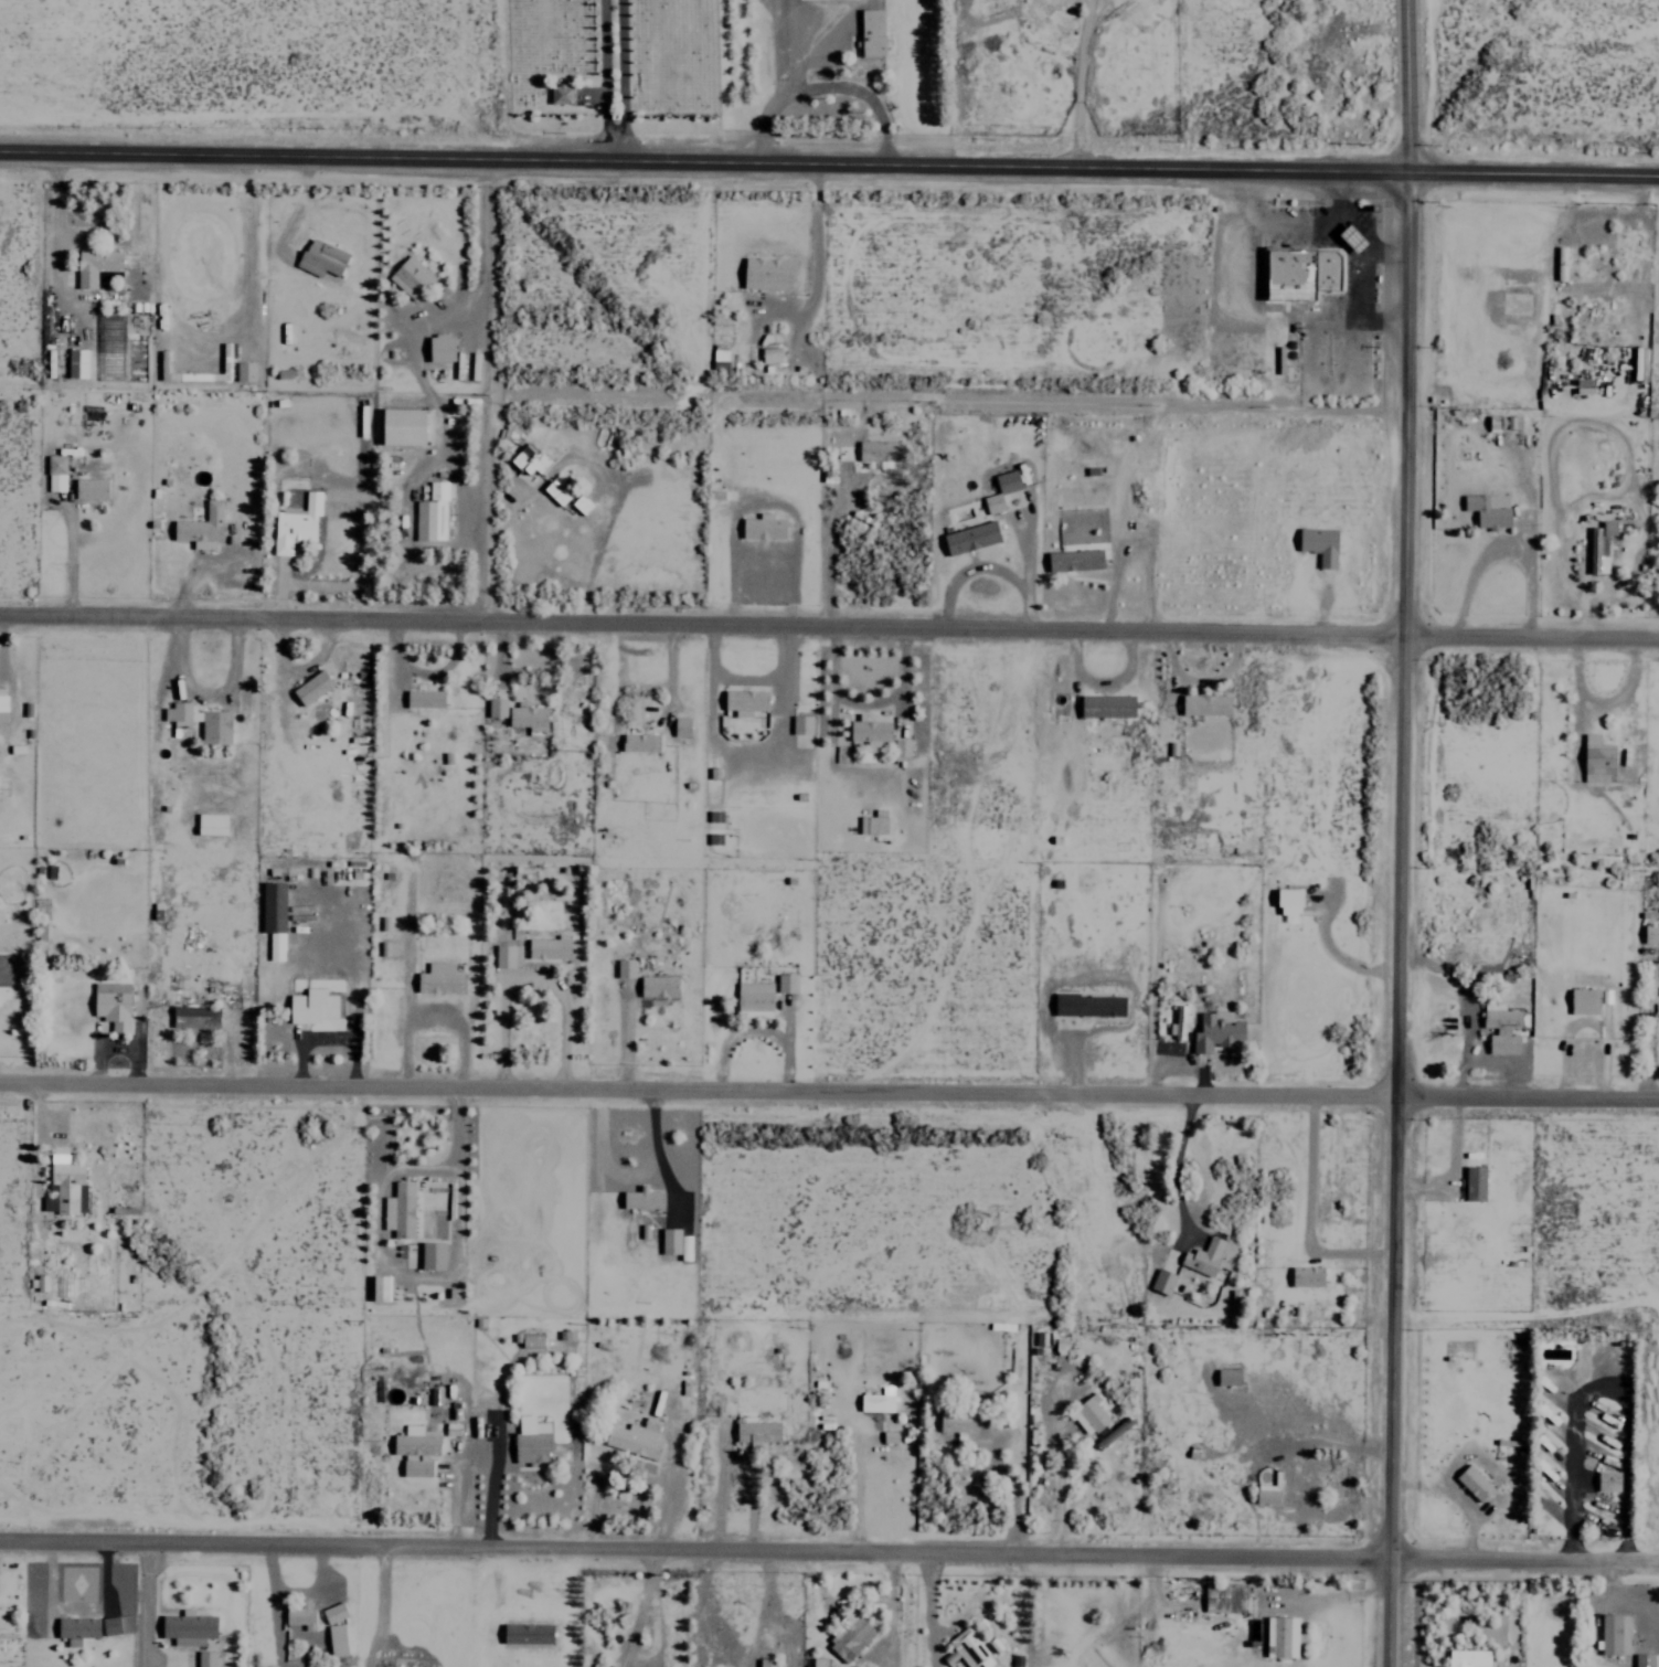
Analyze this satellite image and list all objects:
building: (871, 32)
park: (223, 64)
road: (485, 79)
road: (608, 81)
road: (625, 81)
building: (560, 94)
road: (829, 163)
building: (1353, 237)
building: (321, 258)
building: (95, 266)
building: (1300, 270)
building: (766, 274)
building: (410, 277)
building: (769, 339)
building: (440, 348)
building: (770, 354)
building: (226, 358)
building: (719, 358)
building: (75, 363)
building: (1639, 363)
building: (244, 371)
road: (486, 389)
building: (1503, 422)
building: (402, 426)
building: (511, 434)
building: (879, 452)
building: (529, 459)
building: (631, 459)
building: (54, 473)
building: (1007, 481)
building: (89, 488)
building: (556, 492)
building: (582, 503)
building: (992, 503)
building: (1488, 510)
building: (432, 513)
building: (295, 524)
building: (763, 527)
building: (201, 528)
building: (970, 538)
building: (1319, 544)
building: (1599, 546)
building: (1074, 561)
road: (829, 624)
building: (311, 688)
building: (424, 699)
building: (744, 702)
building: (1205, 704)
building: (1106, 705)
building: (2, 708)
building: (496, 708)
building: (528, 719)
building: (214, 724)
building: (801, 724)
building: (680, 726)
building: (870, 733)
building: (639, 742)
building: (900, 747)
building: (1597, 760)
building: (873, 822)
building: (211, 825)
road: (1395, 832)
building: (1288, 898)
building: (273, 917)
building: (1650, 934)
building: (549, 947)
building: (387, 949)
building: (507, 956)
building: (3, 969)
building: (625, 969)
building: (439, 979)
building: (786, 984)
building: (657, 987)
building: (754, 999)
building: (1584, 1001)
building: (111, 1005)
building: (311, 1006)
building: (1088, 1006)
building: (194, 1011)
building: (1179, 1022)
building: (1500, 1030)
building: (1216, 1032)
road: (829, 1090)
building: (1475, 1182)
building: (64, 1186)
building: (641, 1198)
building: (398, 1209)
building: (674, 1242)
building: (432, 1254)
building: (1203, 1255)
building: (1307, 1275)
building: (1162, 1281)
building: (1227, 1376)
building: (435, 1395)
building: (876, 1401)
building: (1088, 1414)
building: (955, 1421)
building: (757, 1432)
building: (635, 1437)
building: (530, 1440)
building: (416, 1450)
building: (1606, 1480)
building: (1472, 1482)
building: (1268, 1490)
road: (829, 1549)
building: (1226, 1597)
building: (333, 1612)
building: (300, 1615)
building: (109, 1625)
building: (188, 1627)
building: (76, 1628)
building: (1614, 1634)
building: (849, 1635)
building: (1277, 1635)
building: (336, 1639)
building: (970, 1648)
building: (205, 1658)
building: (1467, 1658)
building: (1646, 1659)
building: (818, 1661)
building: (766, 1663)
building: (859, 1666)

